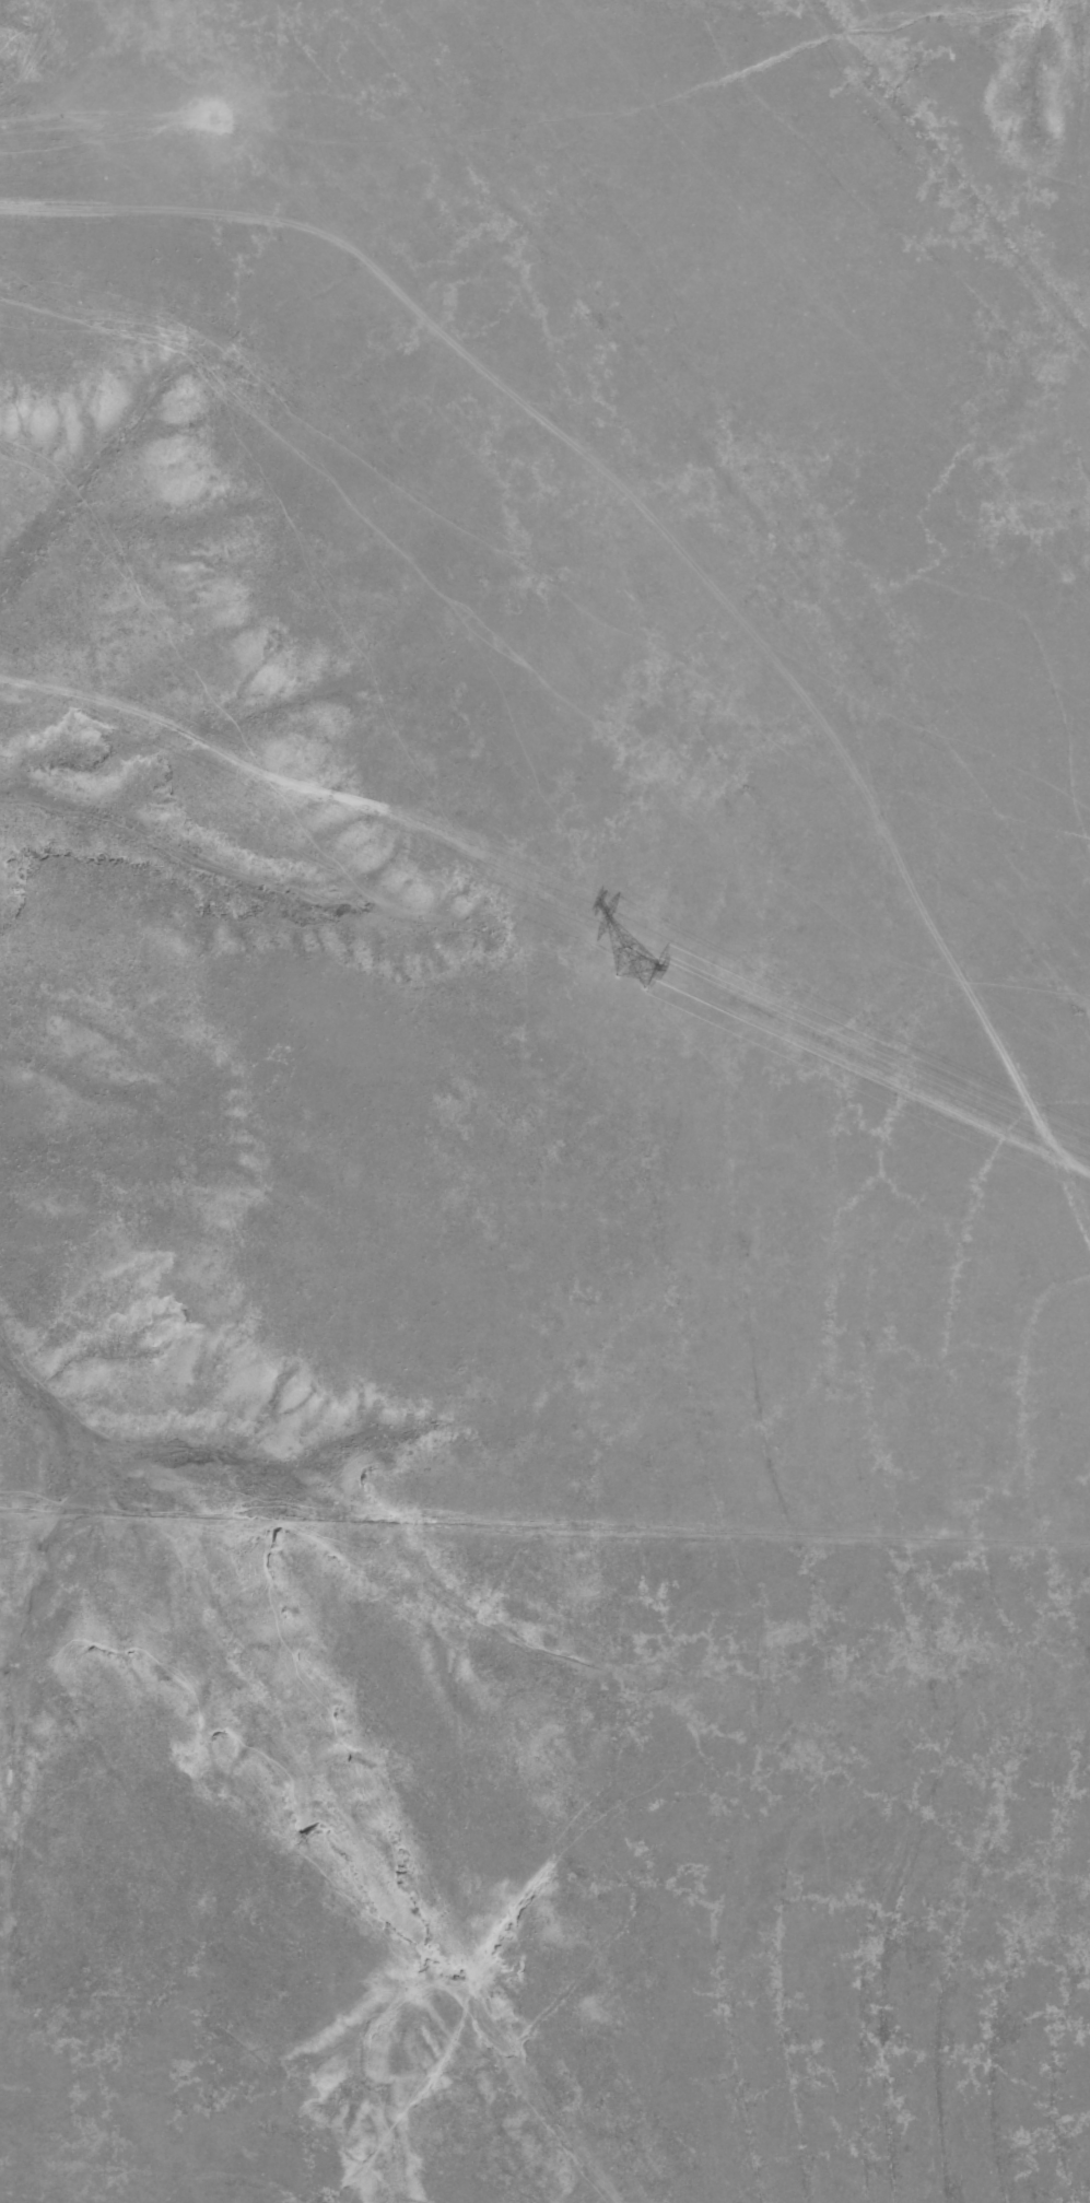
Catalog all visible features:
road: (899, 233)
road: (683, 644)
power tower: (637, 970)

